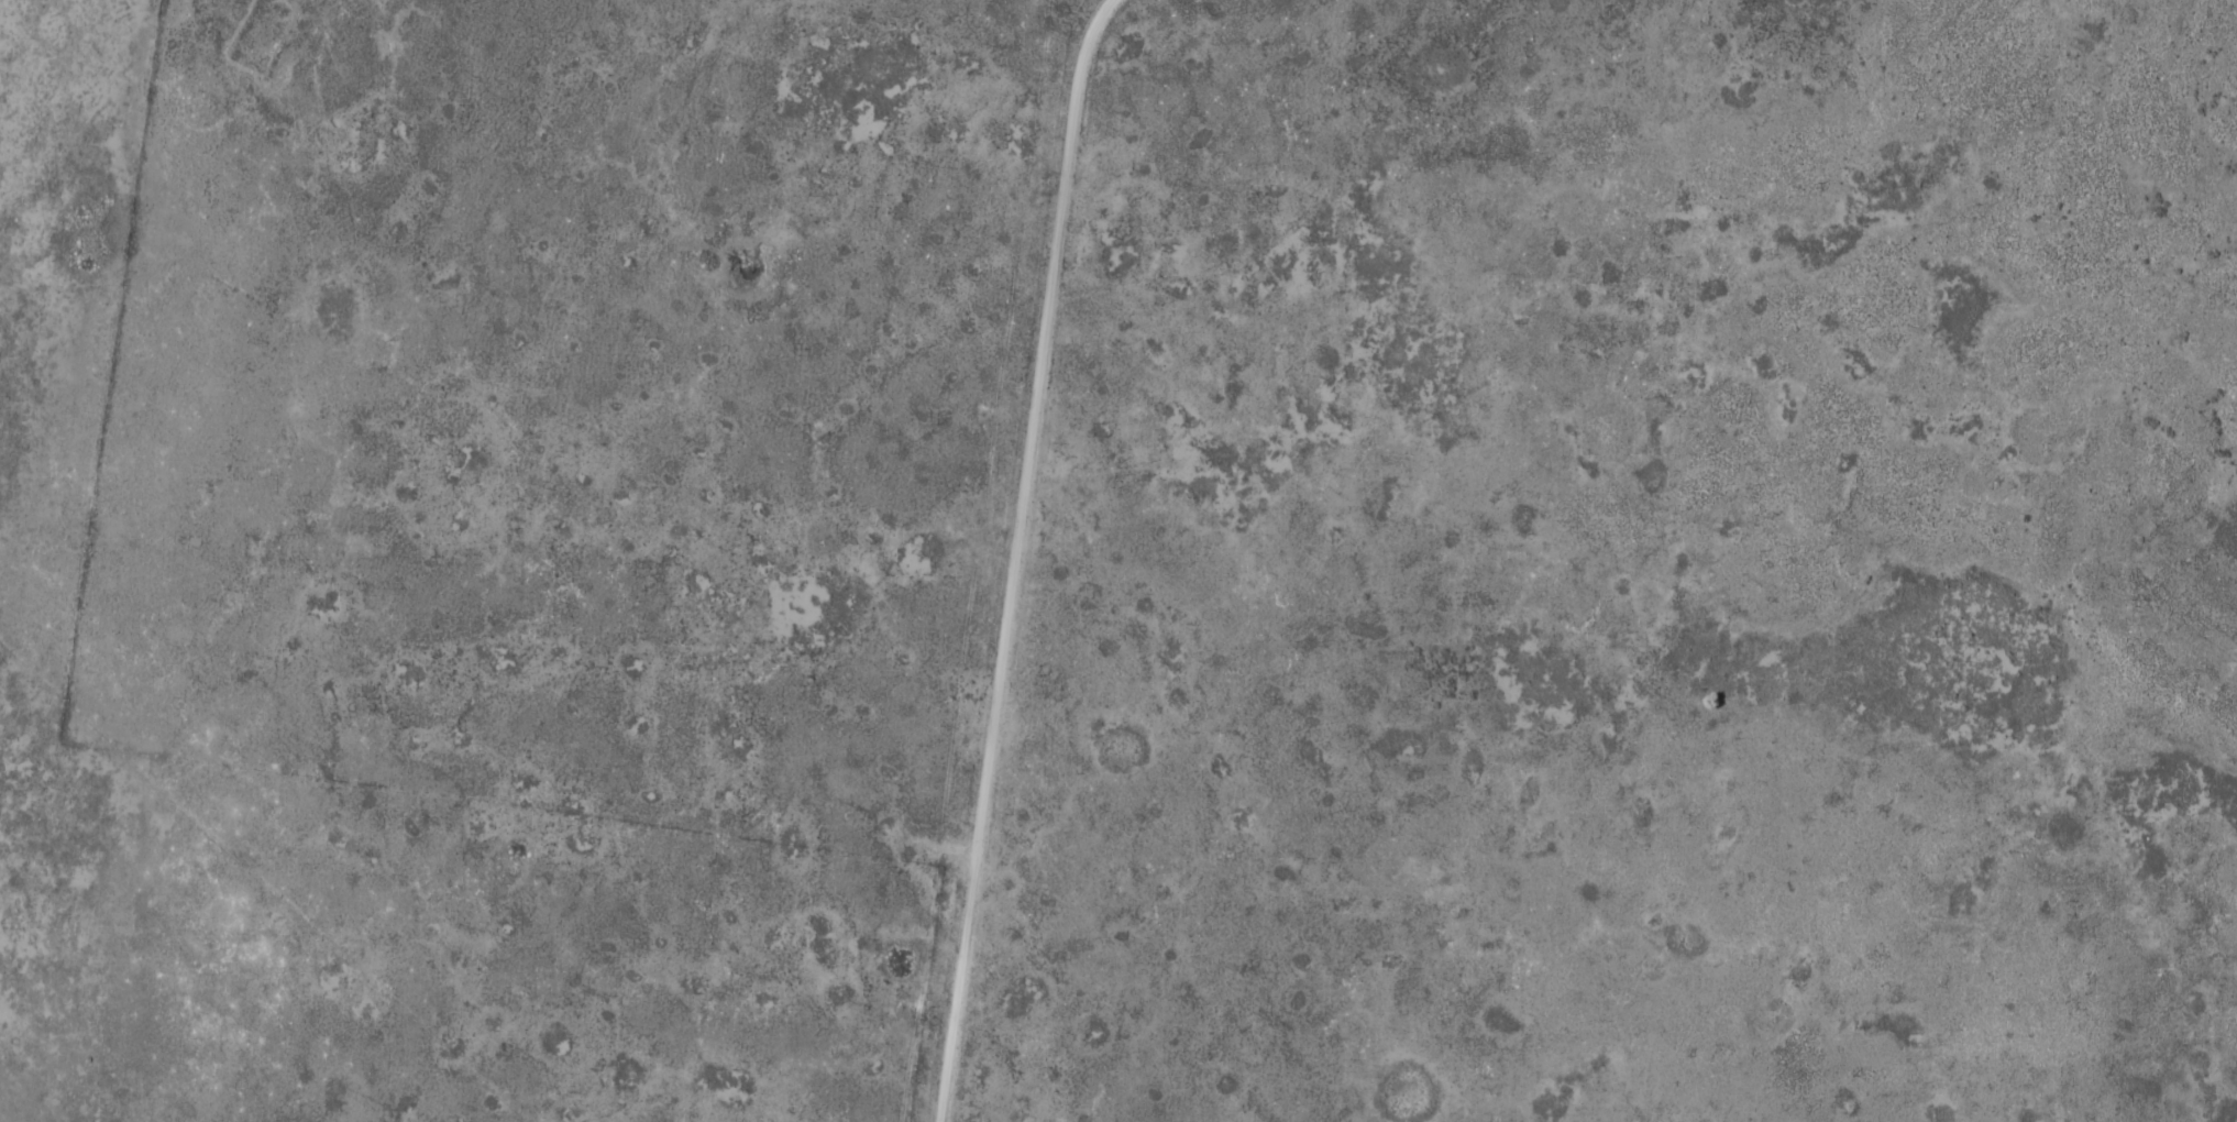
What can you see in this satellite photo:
road: (1003, 558)

